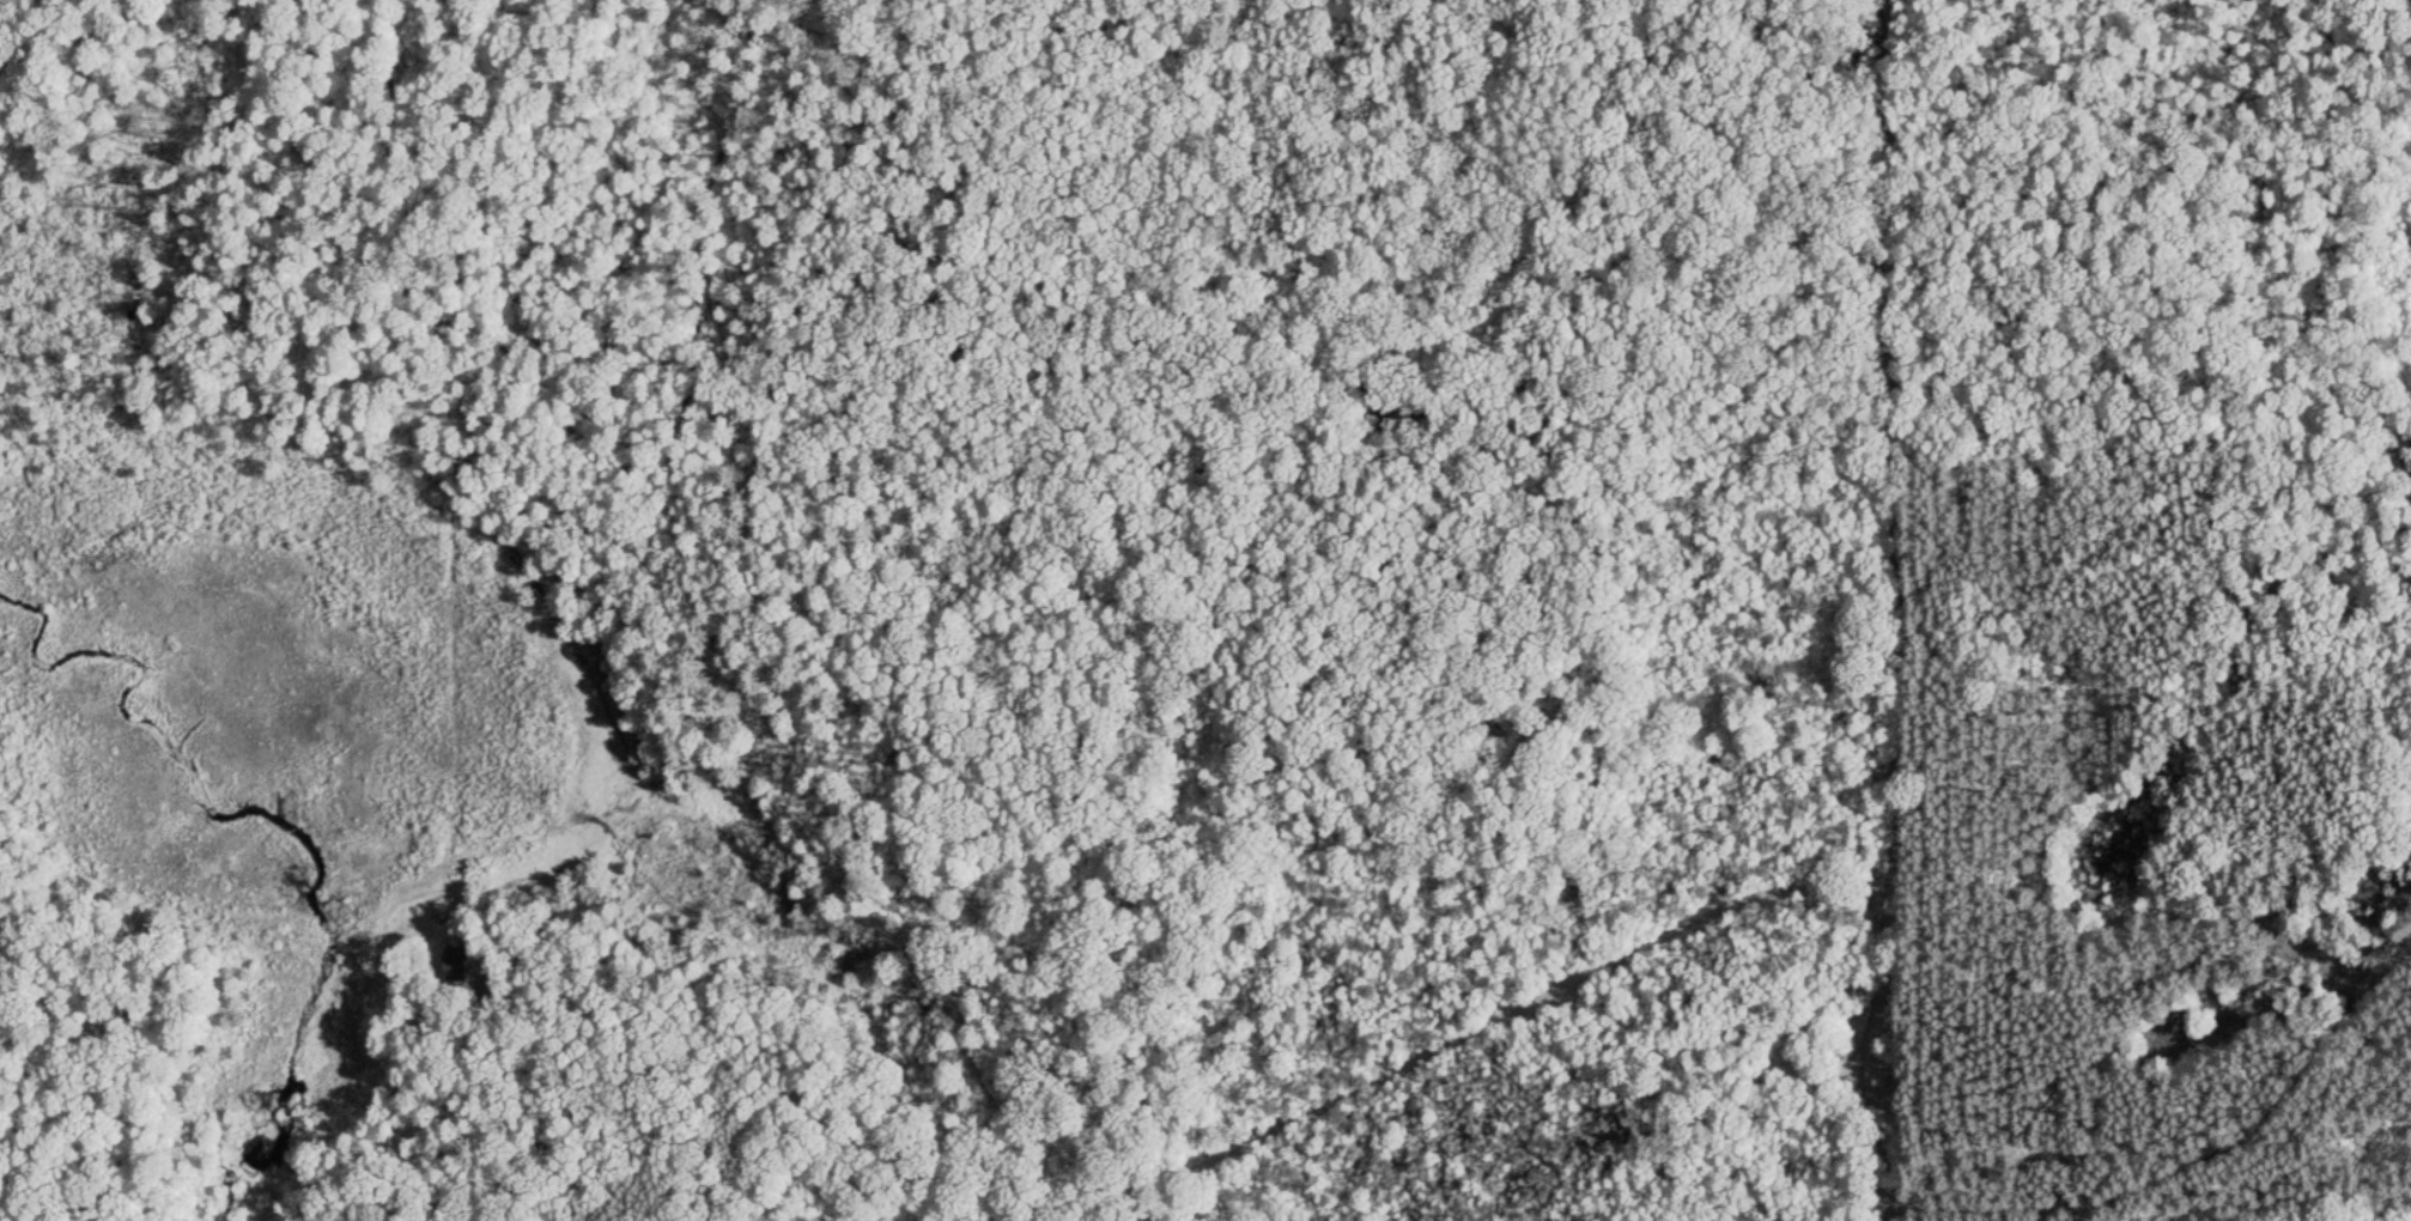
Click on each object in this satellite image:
road: (943, 209)
road: (1890, 610)
road: (2142, 995)

